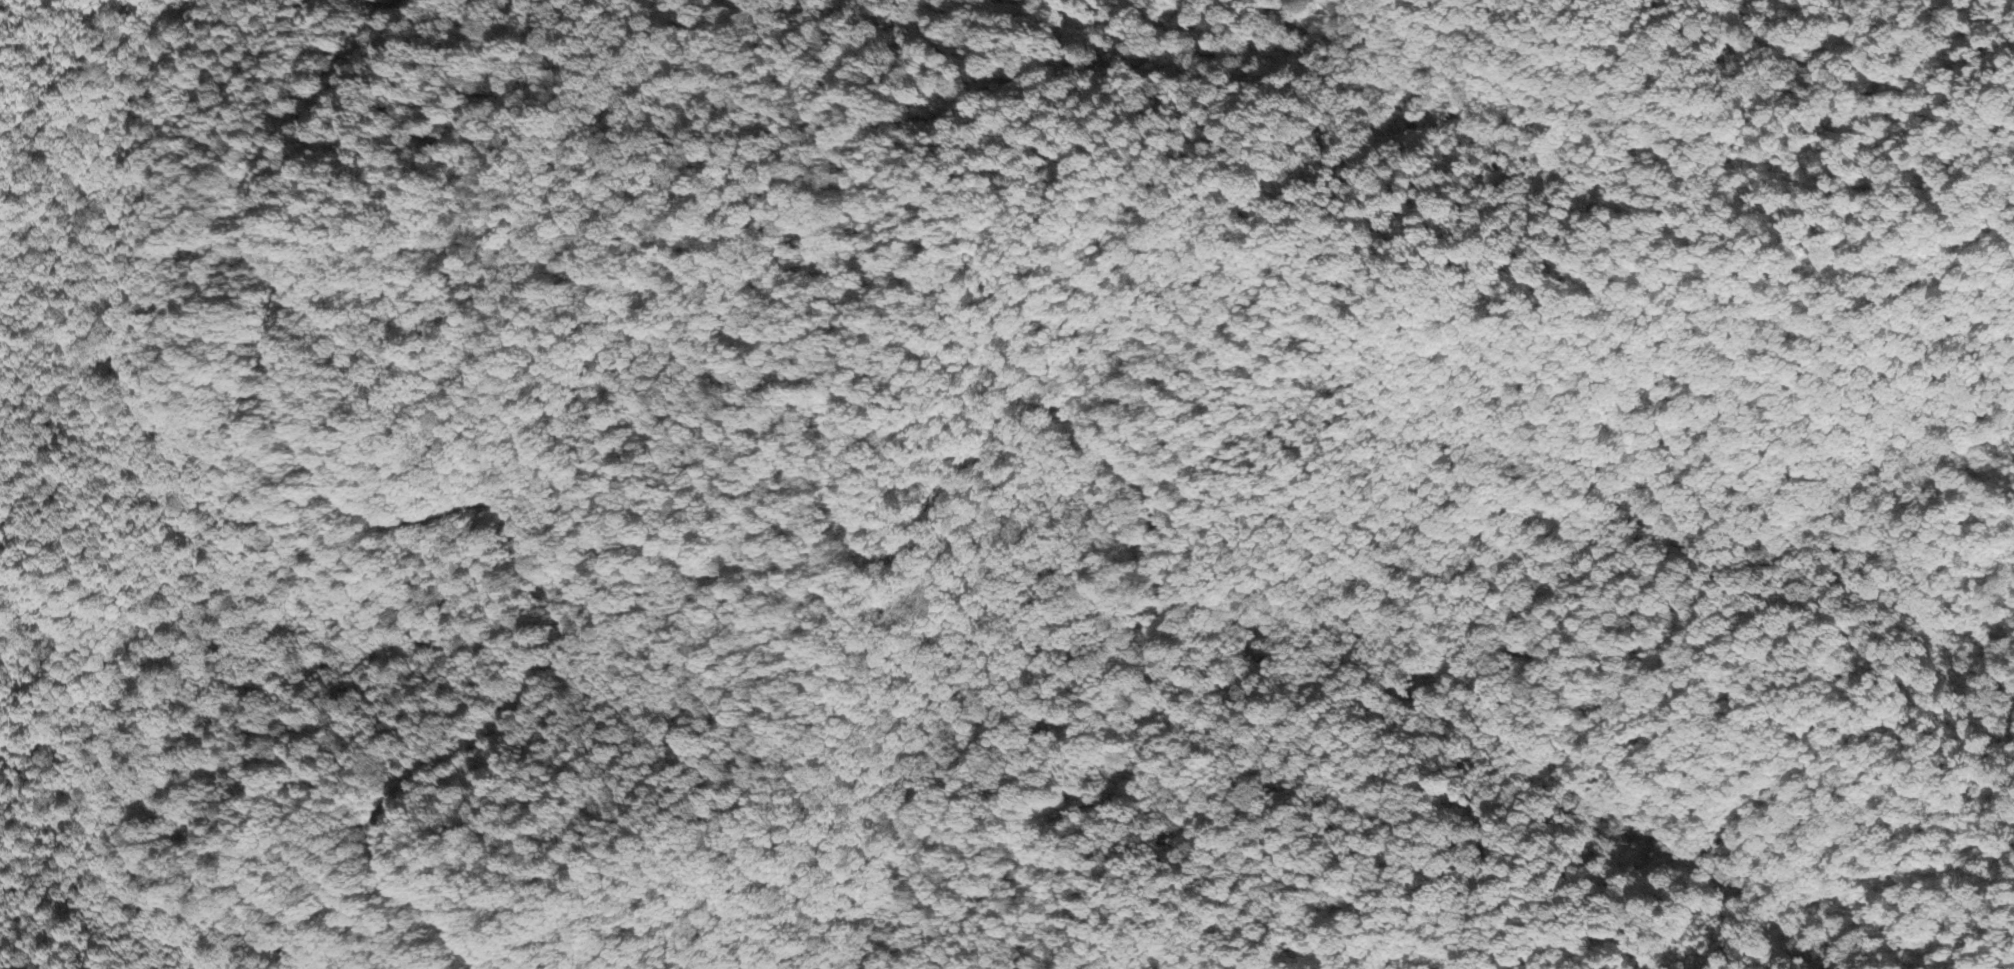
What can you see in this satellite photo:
road: (852, 556)

